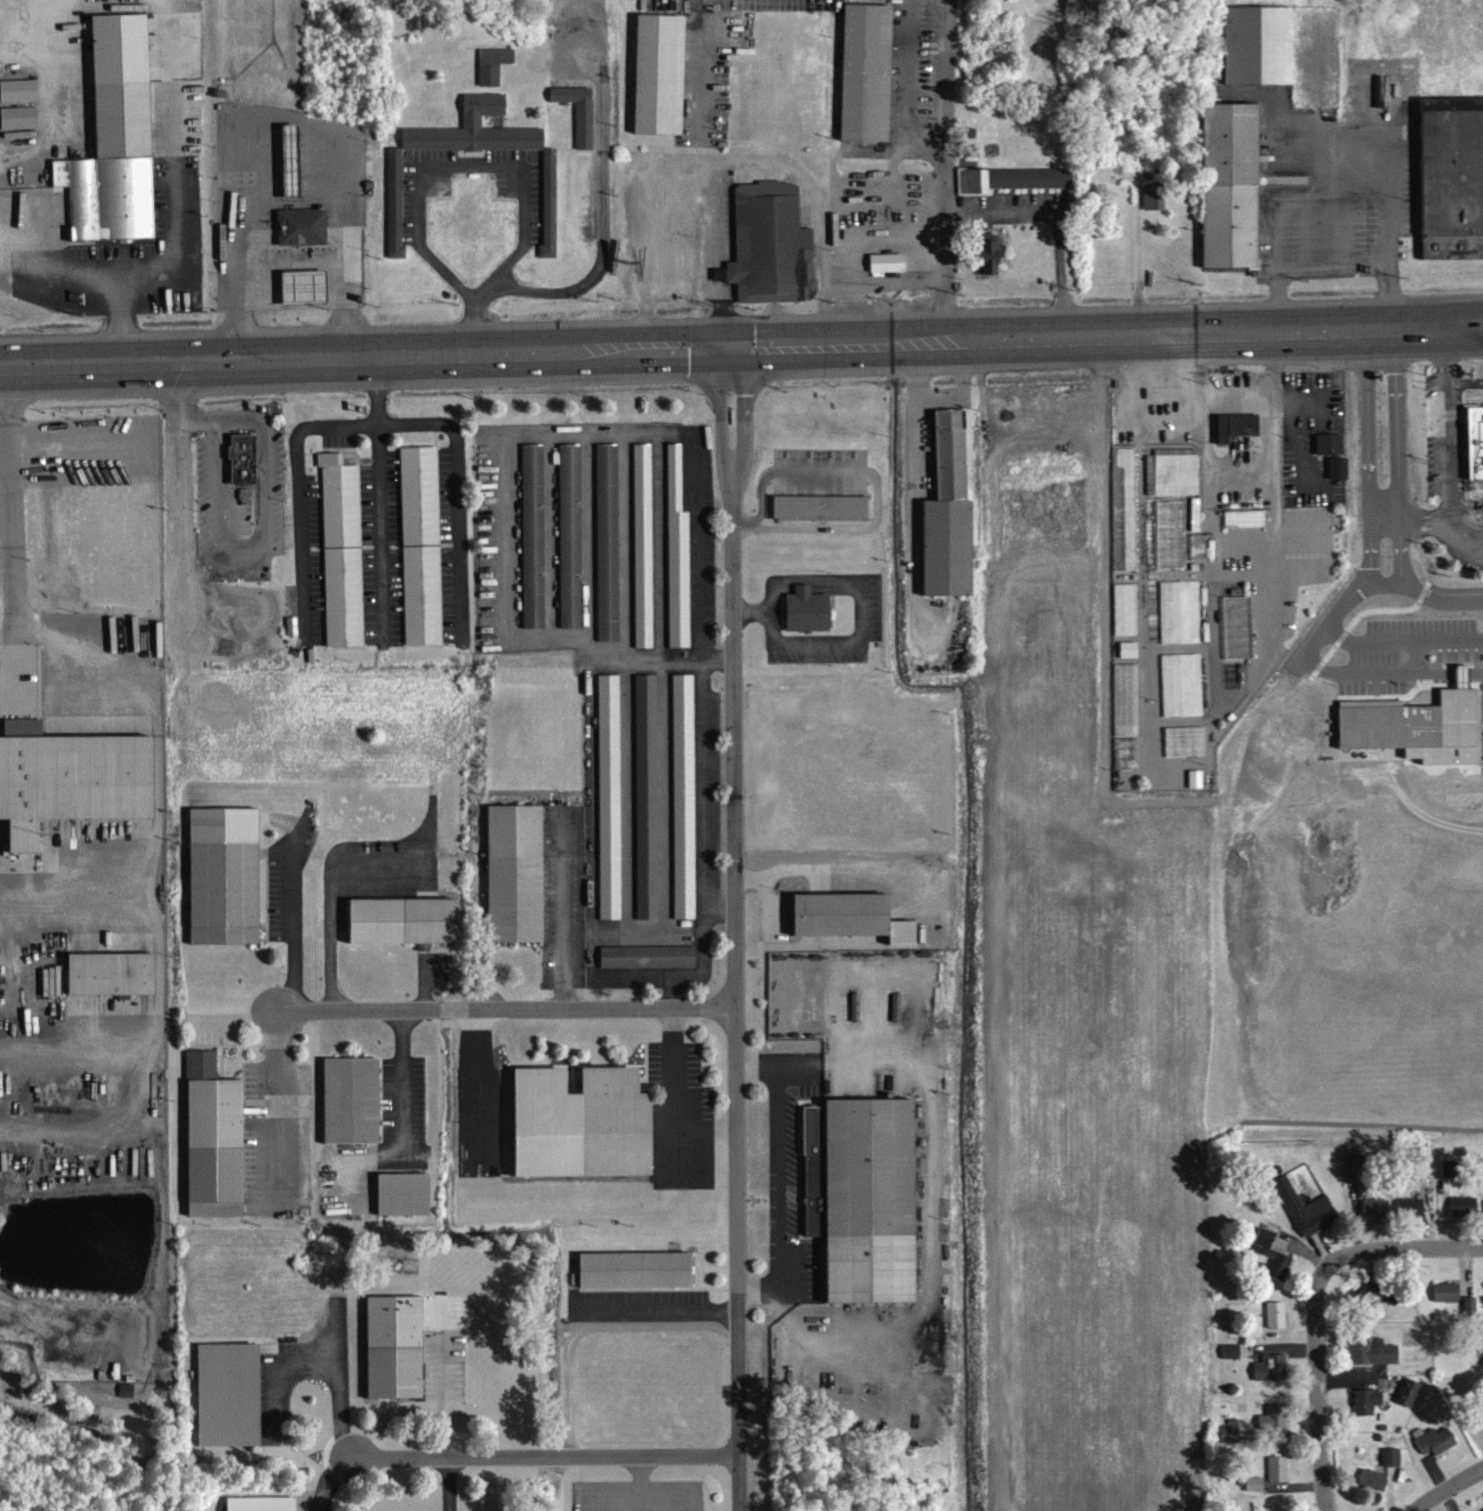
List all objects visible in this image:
building: (1259, 54)
road: (703, 69)
building: (494, 73)
road: (940, 76)
building: (867, 81)
building: (660, 83)
building: (19, 99)
building: (580, 120)
building: (20, 126)
building: (114, 136)
road: (938, 158)
building: (287, 160)
road: (787, 165)
road: (447, 170)
building: (1009, 178)
road: (1340, 181)
building: (1452, 187)
building: (548, 194)
building: (1231, 194)
building: (1155, 205)
road: (716, 208)
building: (396, 214)
road: (828, 215)
building: (299, 226)
gas station: (299, 226)
road: (648, 227)
road: (1057, 242)
road: (603, 248)
building: (772, 254)
road: (1343, 256)
building: (990, 263)
road: (295, 265)
road: (717, 269)
building: (888, 271)
road: (92, 283)
building: (301, 287)
road: (719, 314)
road: (741, 348)
traffic signals: (732, 349)
road: (1466, 392)
road: (180, 414)
building: (1237, 436)
building: (1473, 442)
road: (1449, 446)
building: (1330, 453)
building: (241, 457)
building: (1339, 477)
building: (1177, 484)
road: (379, 493)
road: (8, 506)
building: (821, 516)
building: (1126, 518)
road: (1425, 522)
building: (949, 523)
building: (1245, 527)
building: (531, 534)
building: (568, 535)
building: (606, 541)
building: (1172, 543)
building: (642, 544)
building: (419, 545)
building: (340, 549)
building: (676, 552)
road: (1377, 594)
road: (1388, 594)
building: (805, 609)
building: (1126, 618)
building: (1181, 621)
building: (1239, 636)
road: (1405, 648)
building: (1129, 659)
road: (1379, 682)
building: (1183, 694)
building: (1418, 734)
building: (68, 777)
building: (608, 794)
building: (645, 795)
building: (682, 795)
building: (513, 872)
building: (221, 874)
road: (329, 890)
road: (766, 891)
building: (847, 916)
building: (401, 919)
road: (290, 926)
road: (734, 930)
building: (646, 955)
building: (108, 972)
road: (424, 981)
road: (504, 1008)
road: (757, 1065)
road: (402, 1082)
road: (477, 1088)
road: (674, 1090)
road: (277, 1098)
building: (349, 1099)
building: (578, 1121)
road: (706, 1127)
building: (212, 1136)
road: (779, 1175)
building: (1422, 1175)
building: (1357, 1178)
building: (1451, 1178)
building: (401, 1192)
building: (863, 1199)
road: (934, 1200)
building: (1465, 1215)
building: (1411, 1216)
building: (1377, 1217)
building: (1307, 1218)
building: (1272, 1263)
building: (634, 1268)
road: (759, 1286)
building: (1447, 1301)
road: (1316, 1310)
building: (1470, 1315)
road: (590, 1320)
building: (1277, 1324)
building: (391, 1346)
building: (1232, 1360)
building: (1371, 1360)
building: (1482, 1360)
road: (274, 1366)
building: (1272, 1377)
road: (338, 1381)
building: (226, 1393)
road: (439, 1396)
building: (1409, 1401)
building: (1368, 1410)
building: (1275, 1427)
building: (1236, 1444)
building: (1435, 1449)
road: (547, 1458)
building: (1392, 1466)
building: (1278, 1478)
road: (329, 1479)
road: (446, 1485)
building: (1374, 1489)
road: (1448, 1489)
building: (1255, 1493)
parking lot: (635, 1495)
building: (259, 1503)

